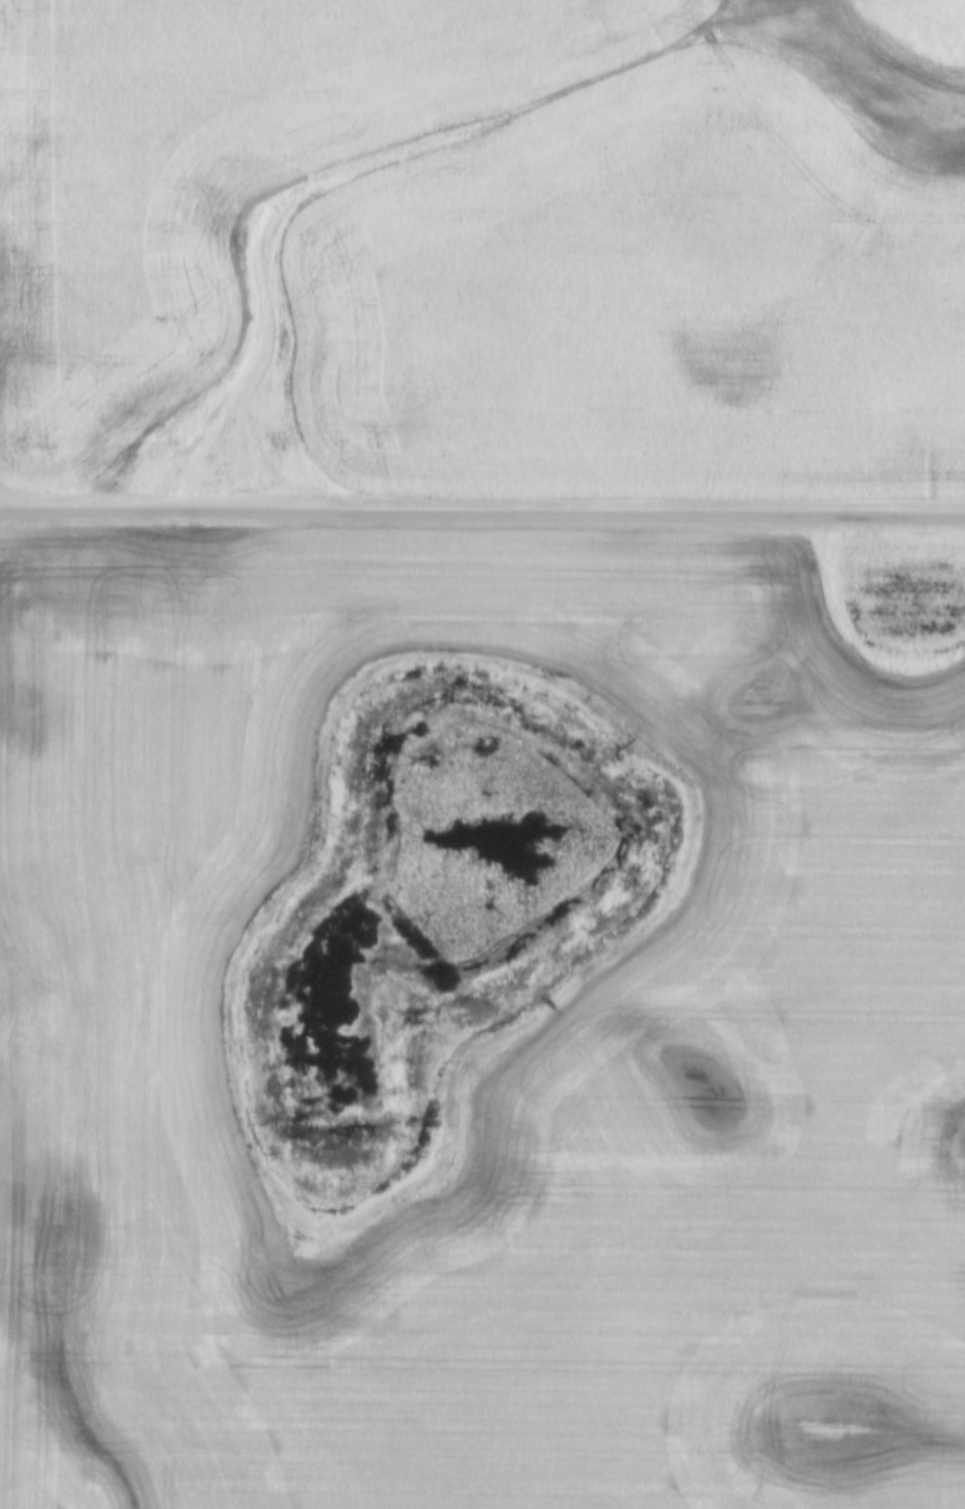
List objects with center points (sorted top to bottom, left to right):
road: (482, 517)

